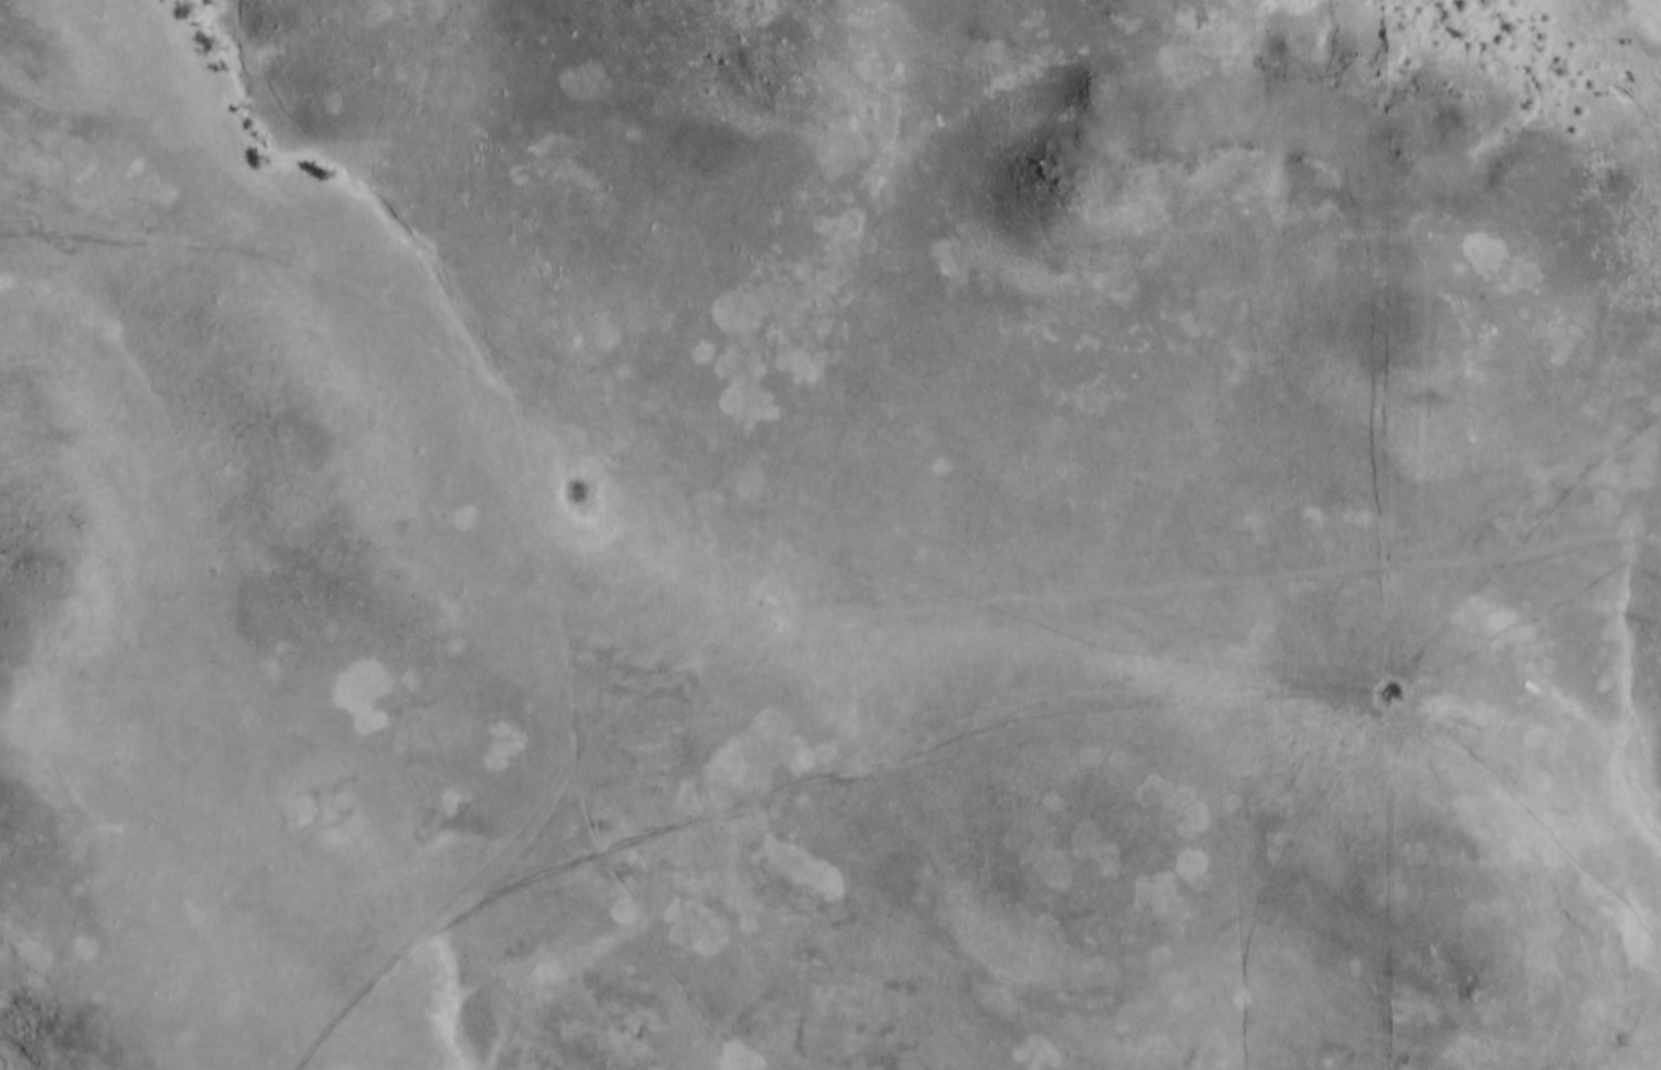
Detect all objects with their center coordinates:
building: (1533, 679)

